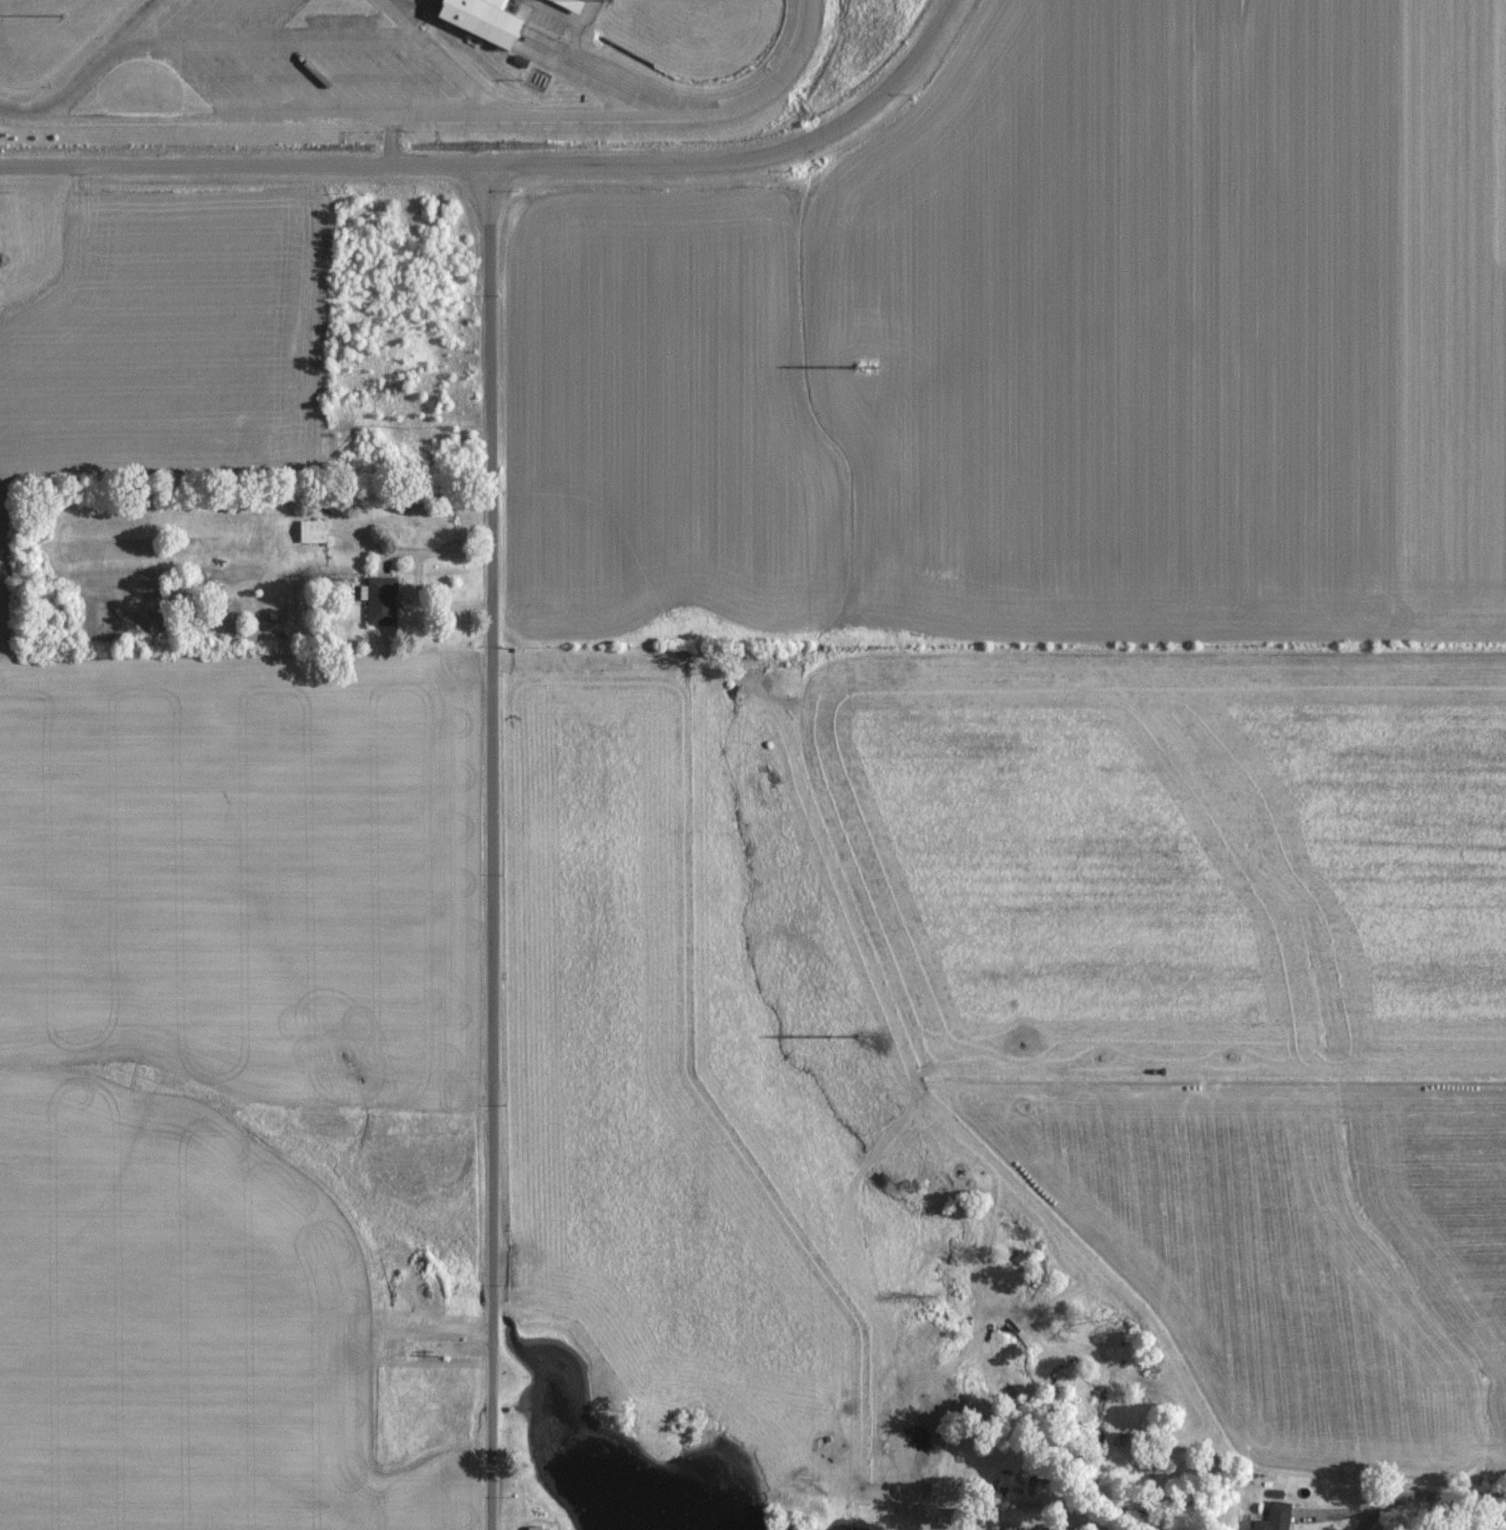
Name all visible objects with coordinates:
building: (493, 3)
building: (557, 7)
road: (167, 21)
road: (196, 21)
road: (226, 21)
road: (251, 21)
road: (270, 21)
building: (473, 27)
road: (262, 42)
road: (434, 60)
road: (90, 62)
road: (564, 64)
road: (278, 80)
road: (324, 80)
road: (380, 80)
road: (186, 81)
road: (235, 81)
road: (441, 118)
road: (387, 143)
road: (509, 167)
power tower: (870, 364)
building: (309, 530)
road: (493, 848)
power tower: (869, 1037)
road: (1436, 1498)
building: (1272, 1516)
road: (1369, 1523)
building: (538, 1527)

